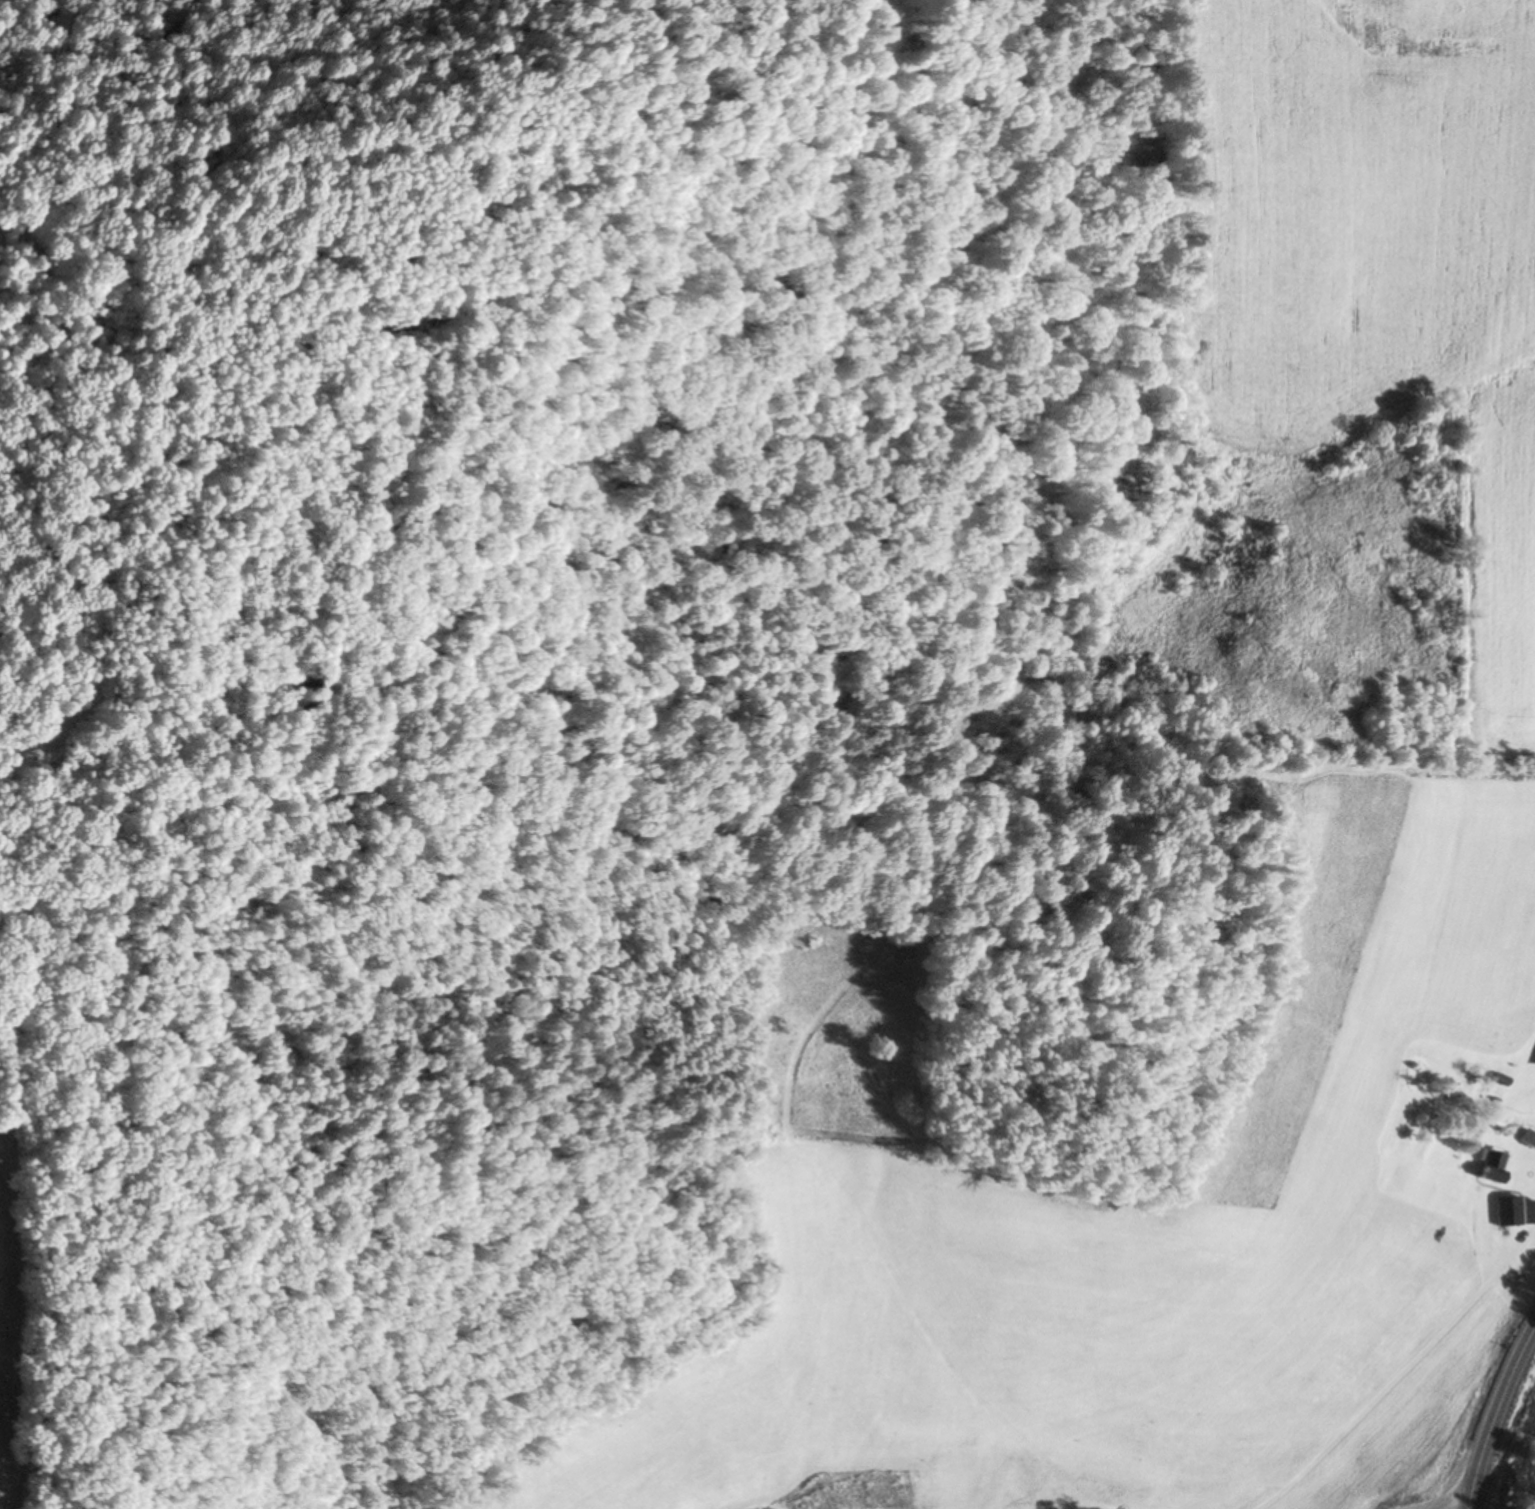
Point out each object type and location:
building: (1526, 1139)
building: (1488, 1167)
building: (1503, 1212)
road: (1498, 1413)

